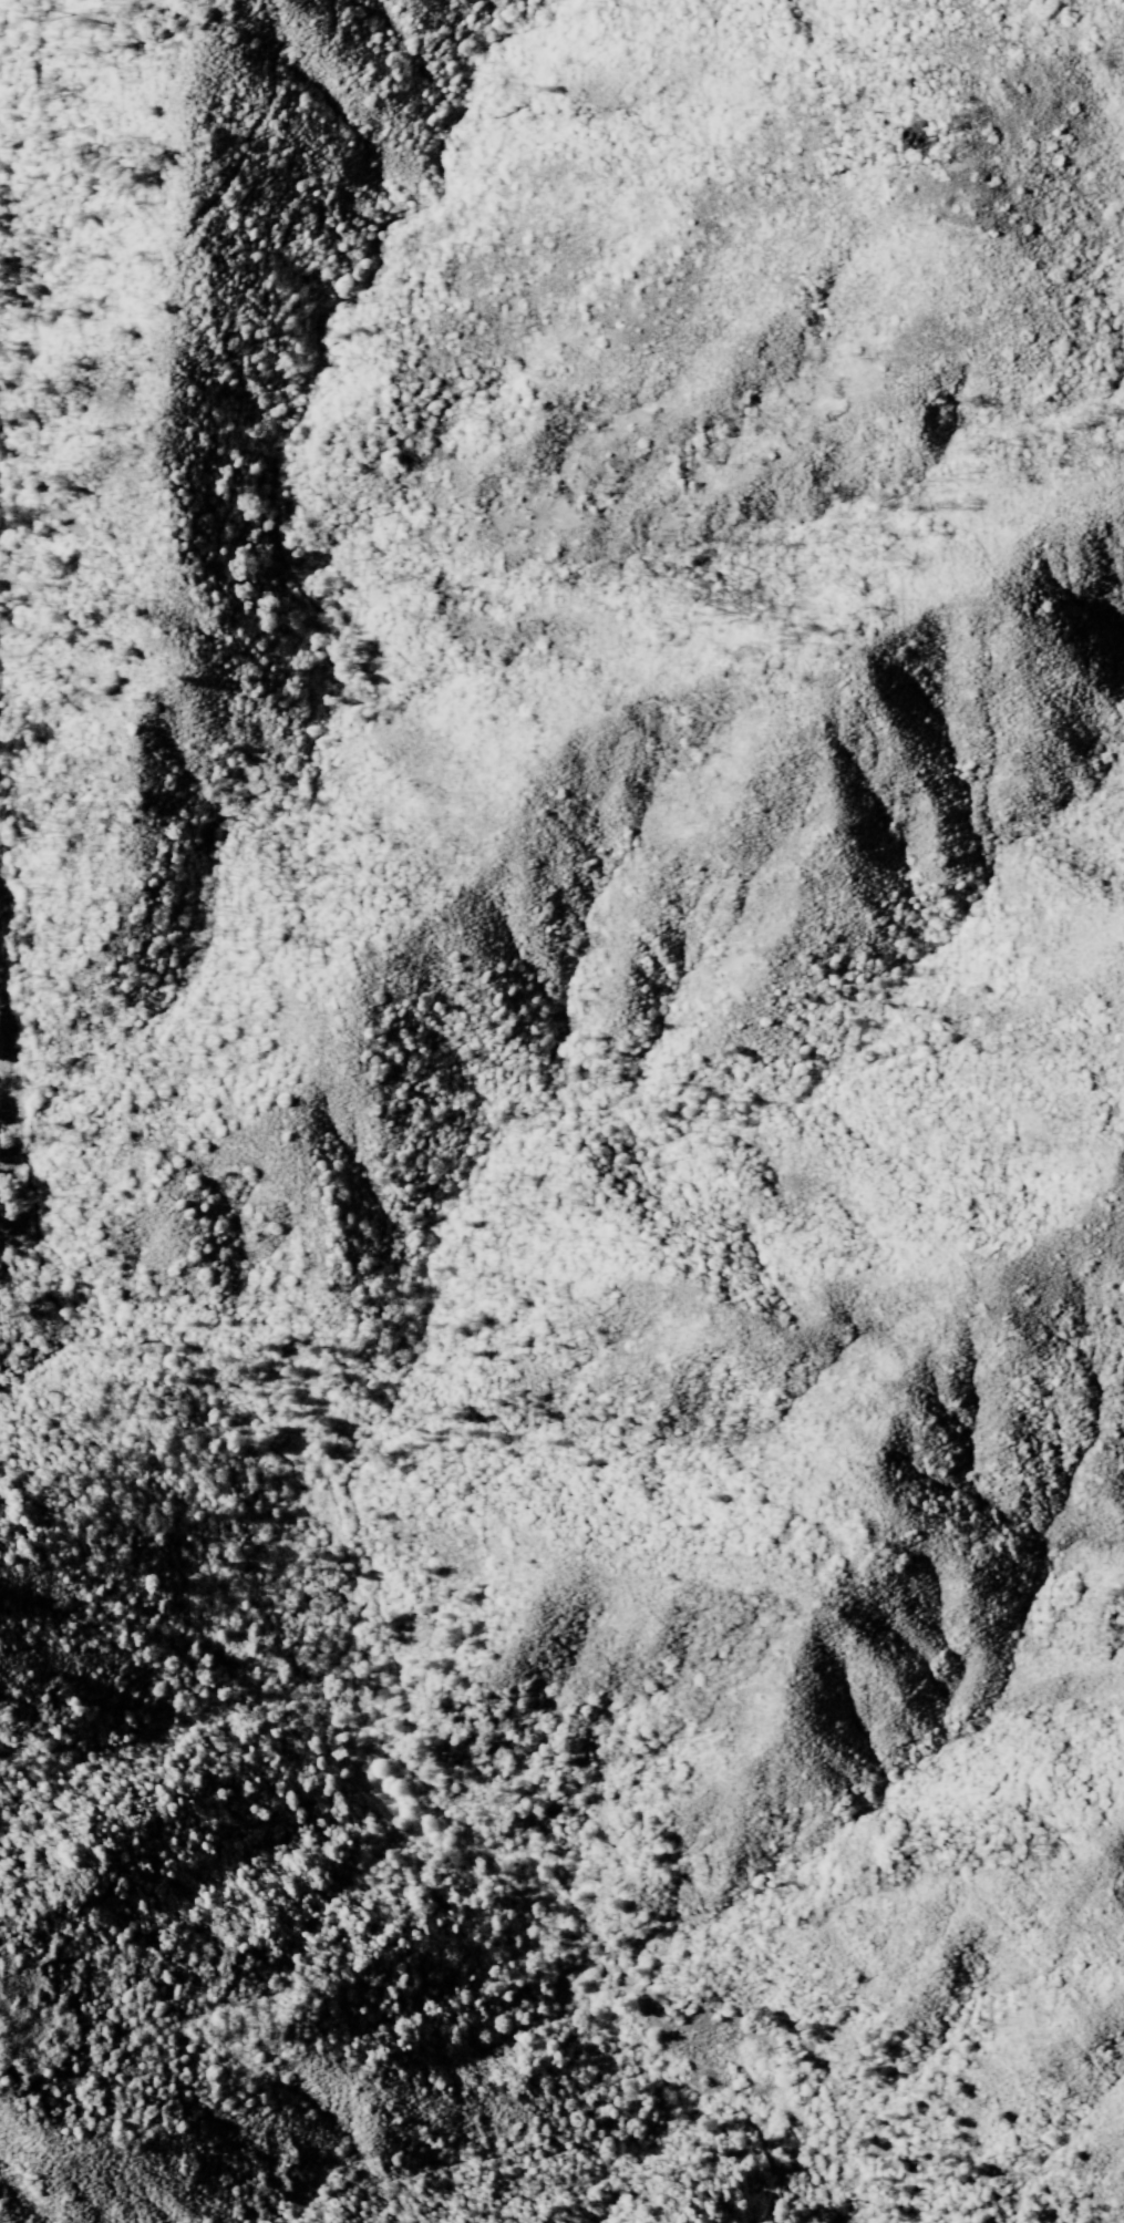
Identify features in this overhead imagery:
road: (179, 235)
road: (7, 652)
road: (371, 1646)
road: (918, 2118)
road: (771, 2158)

